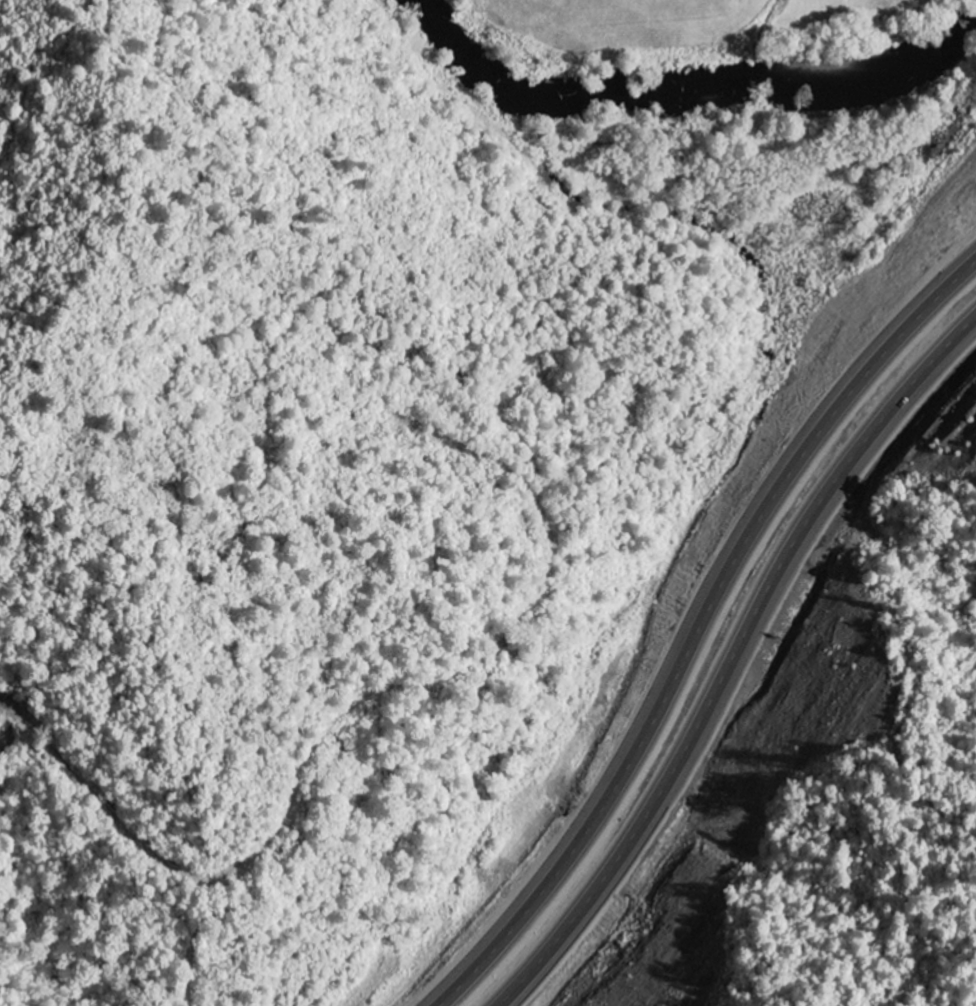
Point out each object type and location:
river: (691, 85)
road: (712, 630)
road: (735, 660)

